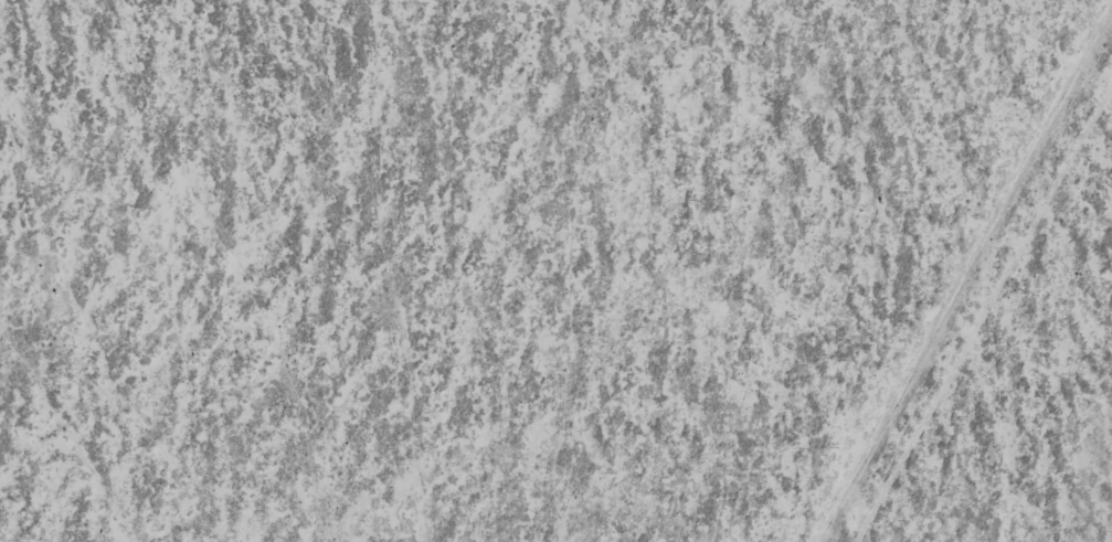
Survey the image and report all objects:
road: (964, 275)

